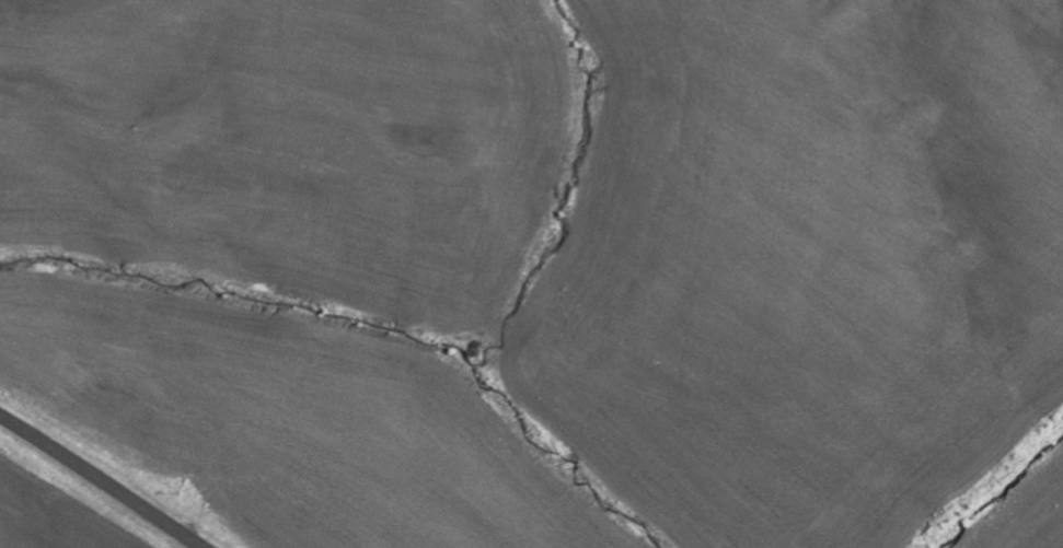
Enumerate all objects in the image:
road: (102, 480)

